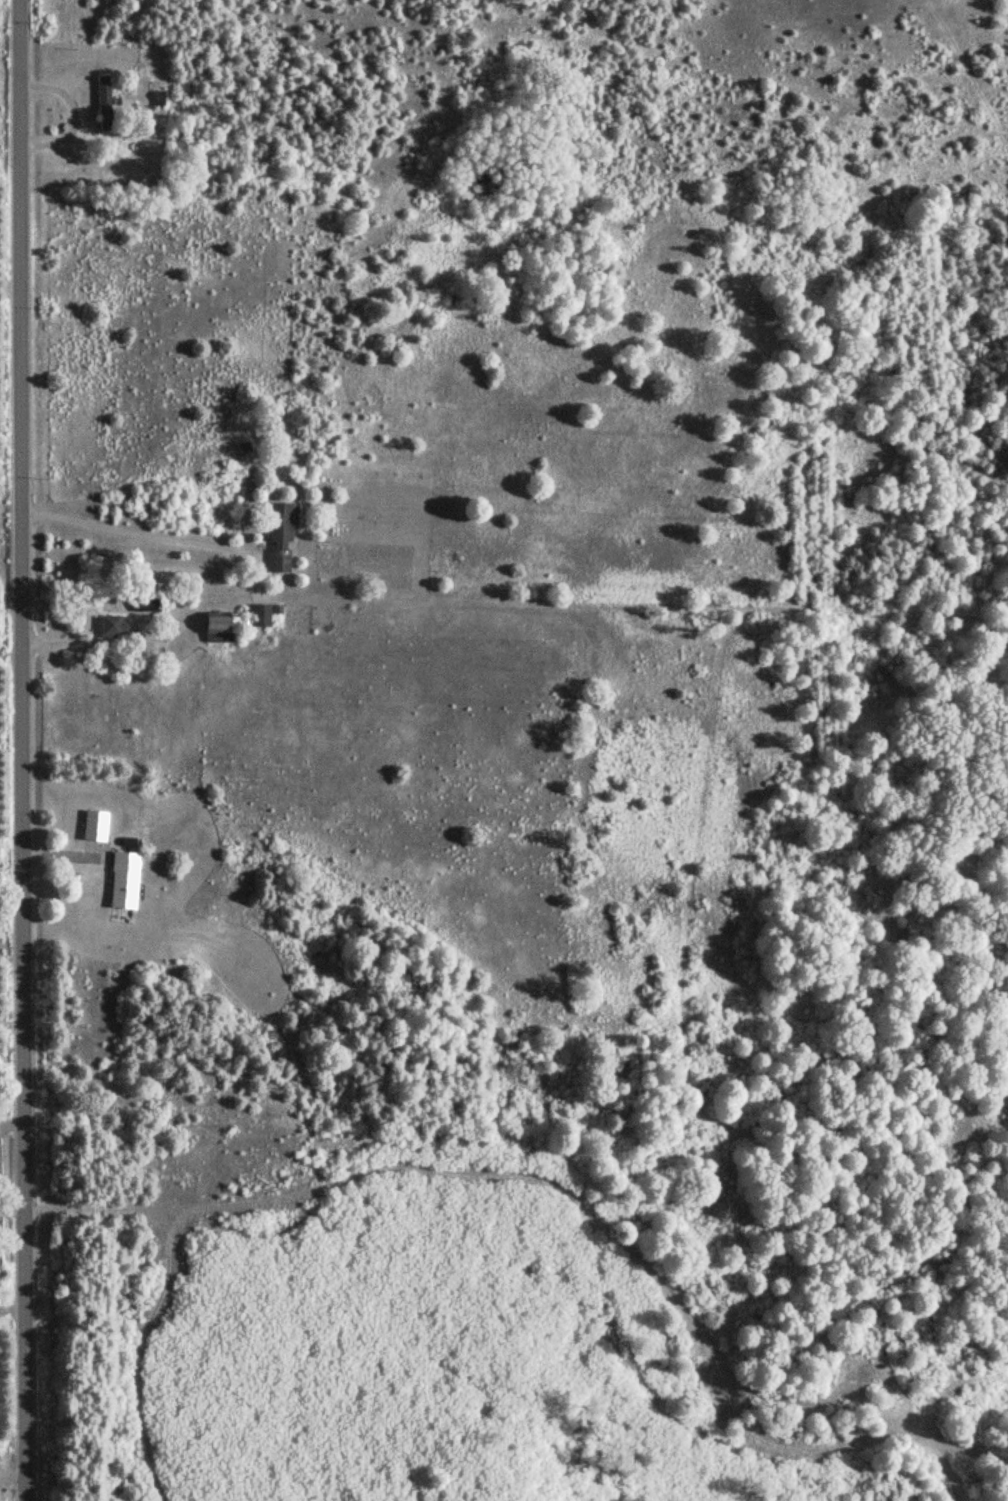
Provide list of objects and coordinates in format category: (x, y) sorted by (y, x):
building: (102, 97)
building: (157, 99)
building: (277, 536)
building: (257, 614)
building: (217, 622)
building: (112, 627)
road: (21, 750)
building: (121, 879)
road: (11, 1361)

